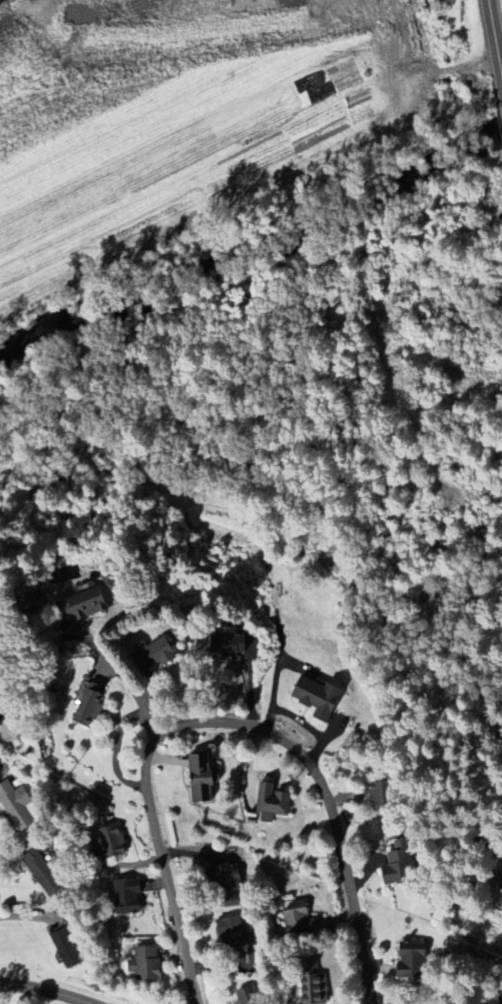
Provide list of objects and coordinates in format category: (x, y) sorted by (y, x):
road: (498, 25)
building: (35, 607)
building: (80, 607)
building: (230, 645)
building: (151, 656)
road: (111, 673)
building: (317, 698)
building: (88, 707)
road: (224, 723)
power tower: (69, 775)
building: (201, 779)
building: (379, 797)
building: (271, 804)
building: (16, 806)
building: (112, 842)
building: (398, 866)
building: (42, 874)
building: (500, 882)
building: (225, 884)
building: (127, 897)
road: (27, 917)
building: (297, 918)
building: (232, 933)
power tower: (453, 936)
building: (66, 949)
building: (411, 962)
building: (145, 964)
building: (312, 986)
road: (46, 989)
building: (246, 996)

